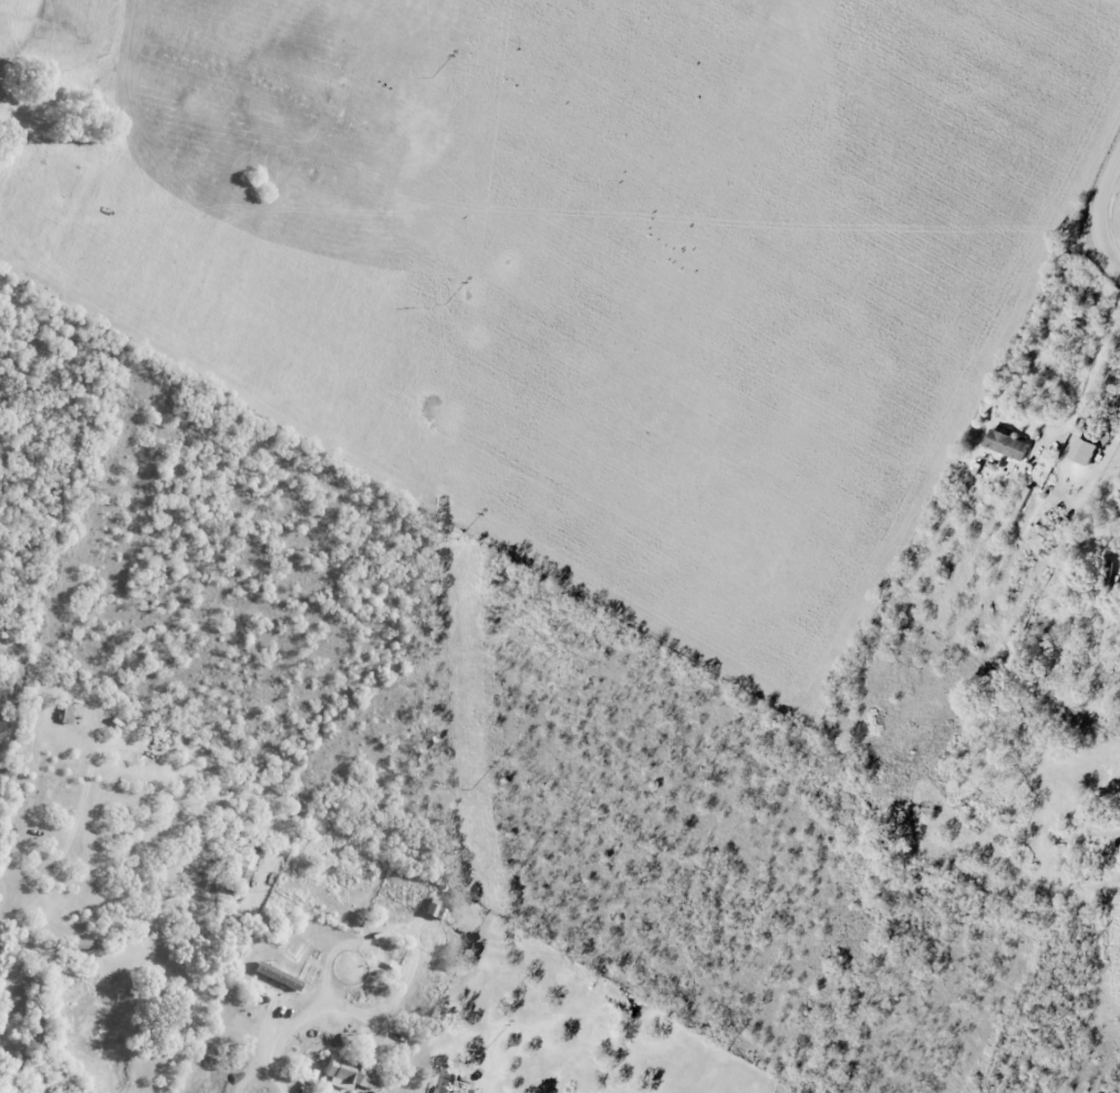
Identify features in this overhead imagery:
power tower: (439, 72)
road: (1110, 214)
power tower: (453, 299)
building: (1006, 444)
building: (1082, 450)
power tower: (464, 534)
power tower: (477, 787)
building: (246, 858)
building: (276, 975)
road: (509, 1028)
road: (288, 1030)
power tower: (490, 1045)
building: (349, 1073)
road: (488, 1083)

